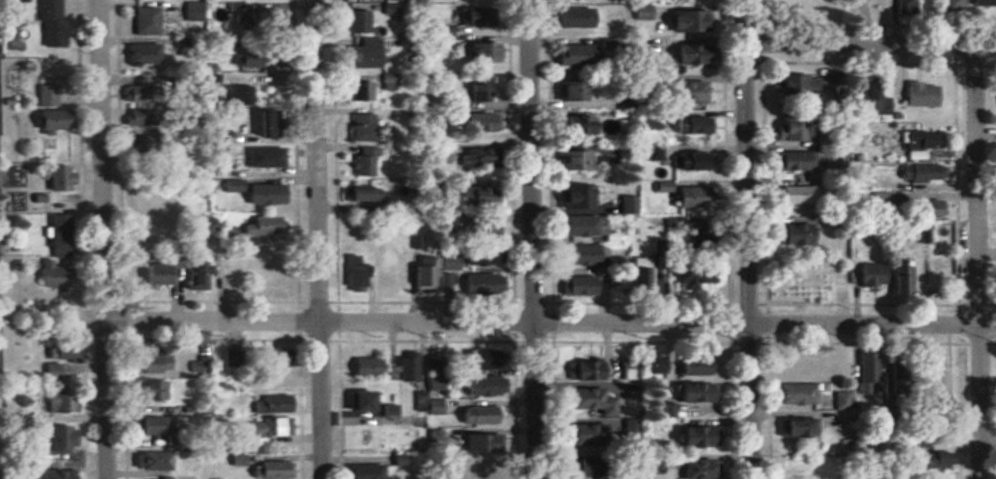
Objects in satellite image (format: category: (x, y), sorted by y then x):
building: (393, 0)
building: (792, 1)
building: (977, 2)
building: (902, 4)
building: (950, 5)
building: (258, 18)
building: (569, 18)
building: (466, 19)
building: (684, 19)
building: (143, 21)
building: (356, 21)
building: (49, 23)
road: (870, 45)
building: (439, 46)
building: (479, 52)
building: (139, 54)
building: (685, 54)
building: (362, 55)
building: (570, 55)
building: (246, 57)
building: (798, 83)
building: (478, 87)
building: (570, 90)
building: (363, 91)
building: (683, 92)
building: (859, 94)
building: (918, 94)
building: (237, 95)
building: (46, 96)
building: (47, 120)
building: (475, 122)
building: (262, 123)
building: (574, 124)
building: (360, 127)
building: (786, 130)
building: (854, 133)
building: (915, 140)
building: (141, 146)
building: (258, 157)
building: (475, 158)
building: (573, 159)
building: (790, 160)
building: (688, 161)
building: (361, 164)
building: (917, 172)
building: (58, 178)
building: (230, 186)
building: (353, 192)
building: (790, 193)
building: (262, 194)
building: (572, 196)
building: (689, 196)
building: (472, 197)
building: (146, 198)
building: (625, 204)
building: (919, 208)
building: (209, 222)
building: (261, 226)
building: (580, 226)
building: (479, 229)
building: (922, 231)
building: (142, 233)
building: (793, 233)
building: (227, 234)
building: (58, 236)
road: (102, 239)
road: (315, 239)
road: (531, 239)
road: (746, 239)
building: (577, 255)
building: (476, 256)
building: (446, 261)
road: (977, 262)
building: (387, 269)
building: (690, 271)
building: (193, 272)
building: (352, 273)
building: (864, 273)
building: (153, 274)
building: (424, 274)
building: (50, 275)
building: (272, 277)
building: (638, 279)
building: (613, 280)
building: (900, 280)
building: (477, 284)
building: (575, 286)
road: (549, 323)
building: (62, 352)
building: (473, 361)
building: (147, 364)
building: (927, 364)
building: (792, 366)
building: (362, 368)
building: (406, 368)
building: (693, 368)
building: (864, 368)
building: (51, 371)
building: (584, 371)
building: (271, 382)
building: (476, 385)
building: (149, 391)
building: (692, 393)
building: (793, 394)
building: (586, 401)
building: (840, 401)
building: (359, 403)
building: (60, 404)
building: (271, 406)
building: (473, 415)
building: (147, 426)
building: (789, 427)
building: (357, 435)
building: (584, 435)
building: (690, 437)
building: (57, 439)
building: (914, 439)
building: (478, 444)
road: (987, 444)
building: (929, 460)
building: (150, 461)
building: (651, 465)
building: (581, 467)
building: (269, 469)
building: (696, 469)
building: (796, 469)
building: (361, 471)
building: (474, 471)
building: (58, 474)
building: (941, 477)

